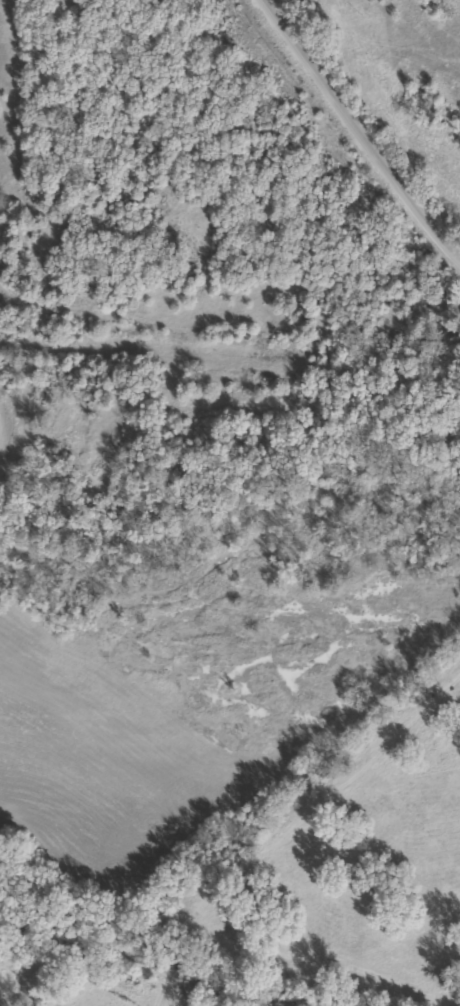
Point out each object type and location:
road: (336, 137)
road: (436, 257)
railway: (230, 346)

